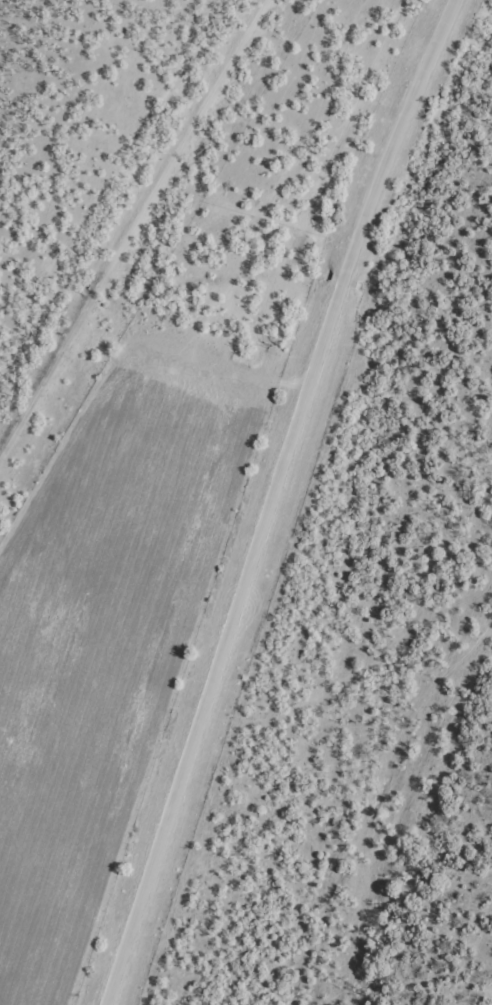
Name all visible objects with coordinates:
railway: (150, 255)
road: (261, 493)
river: (387, 544)

